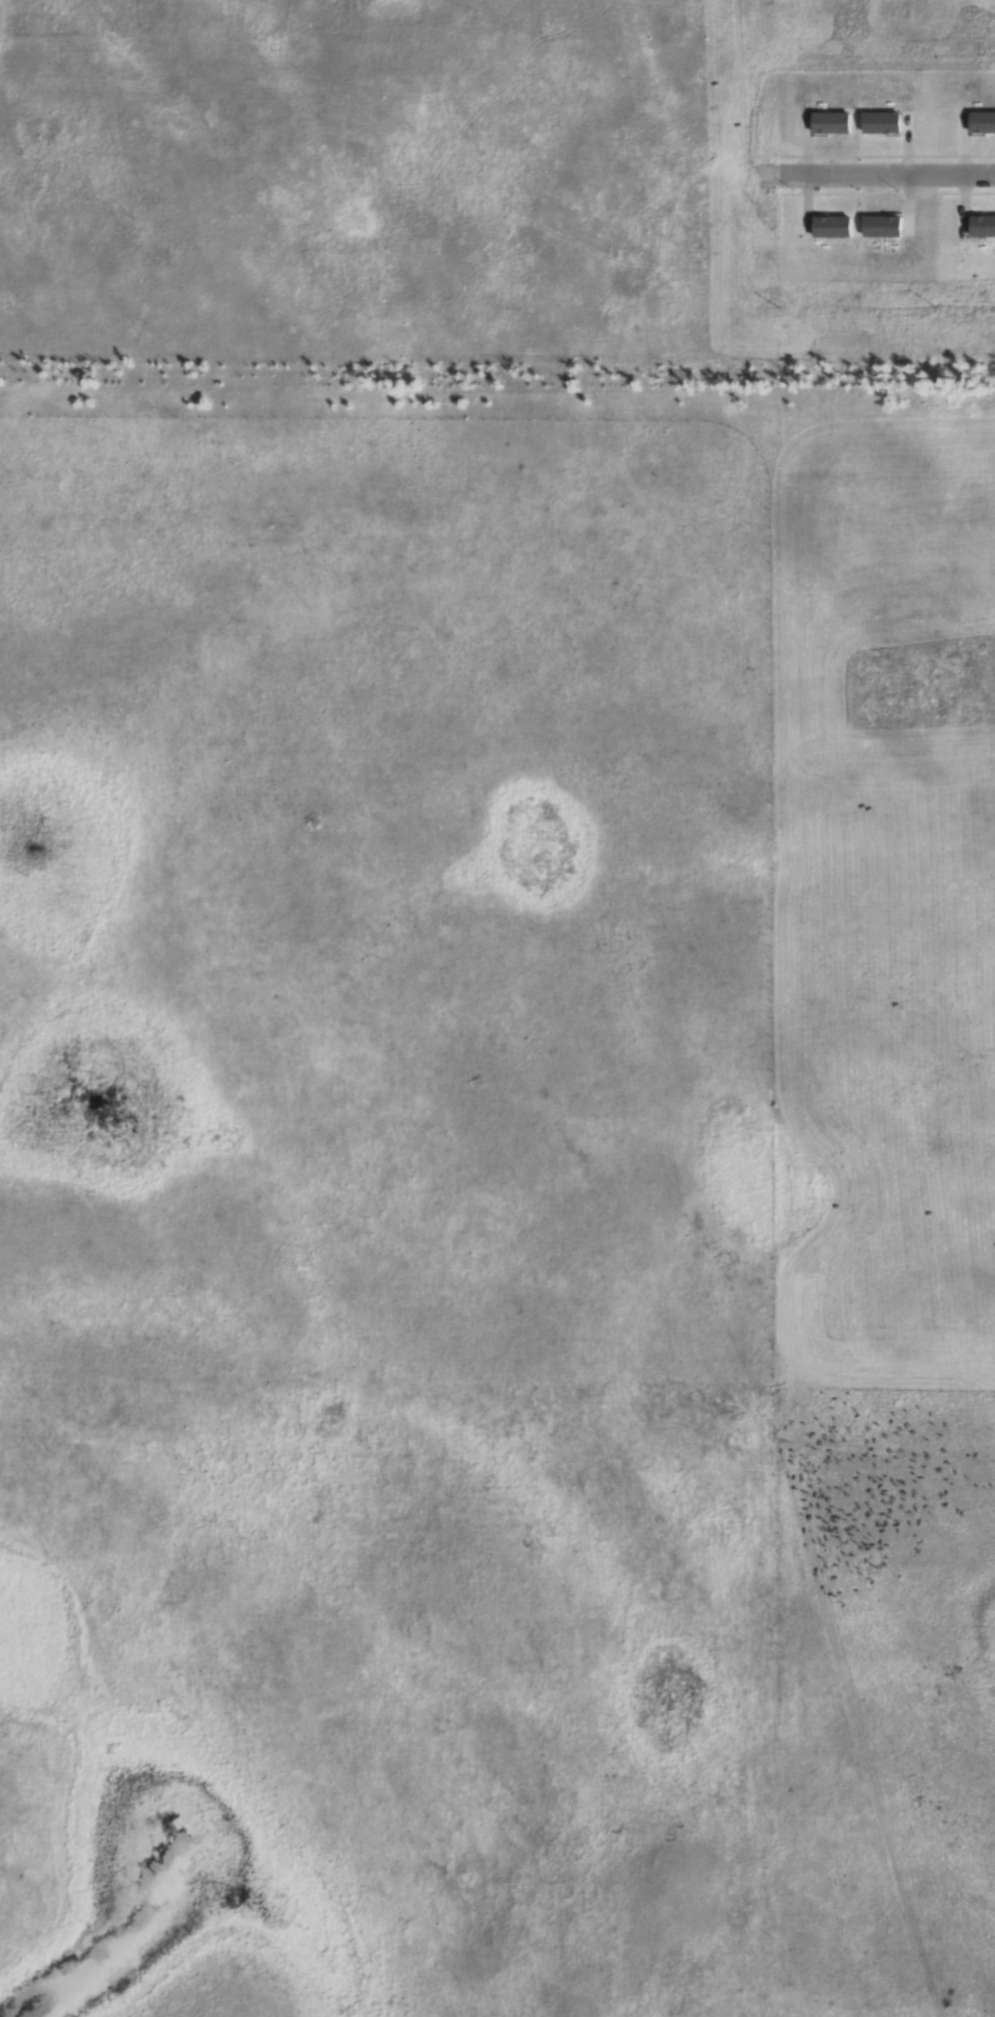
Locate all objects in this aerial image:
road: (881, 173)

